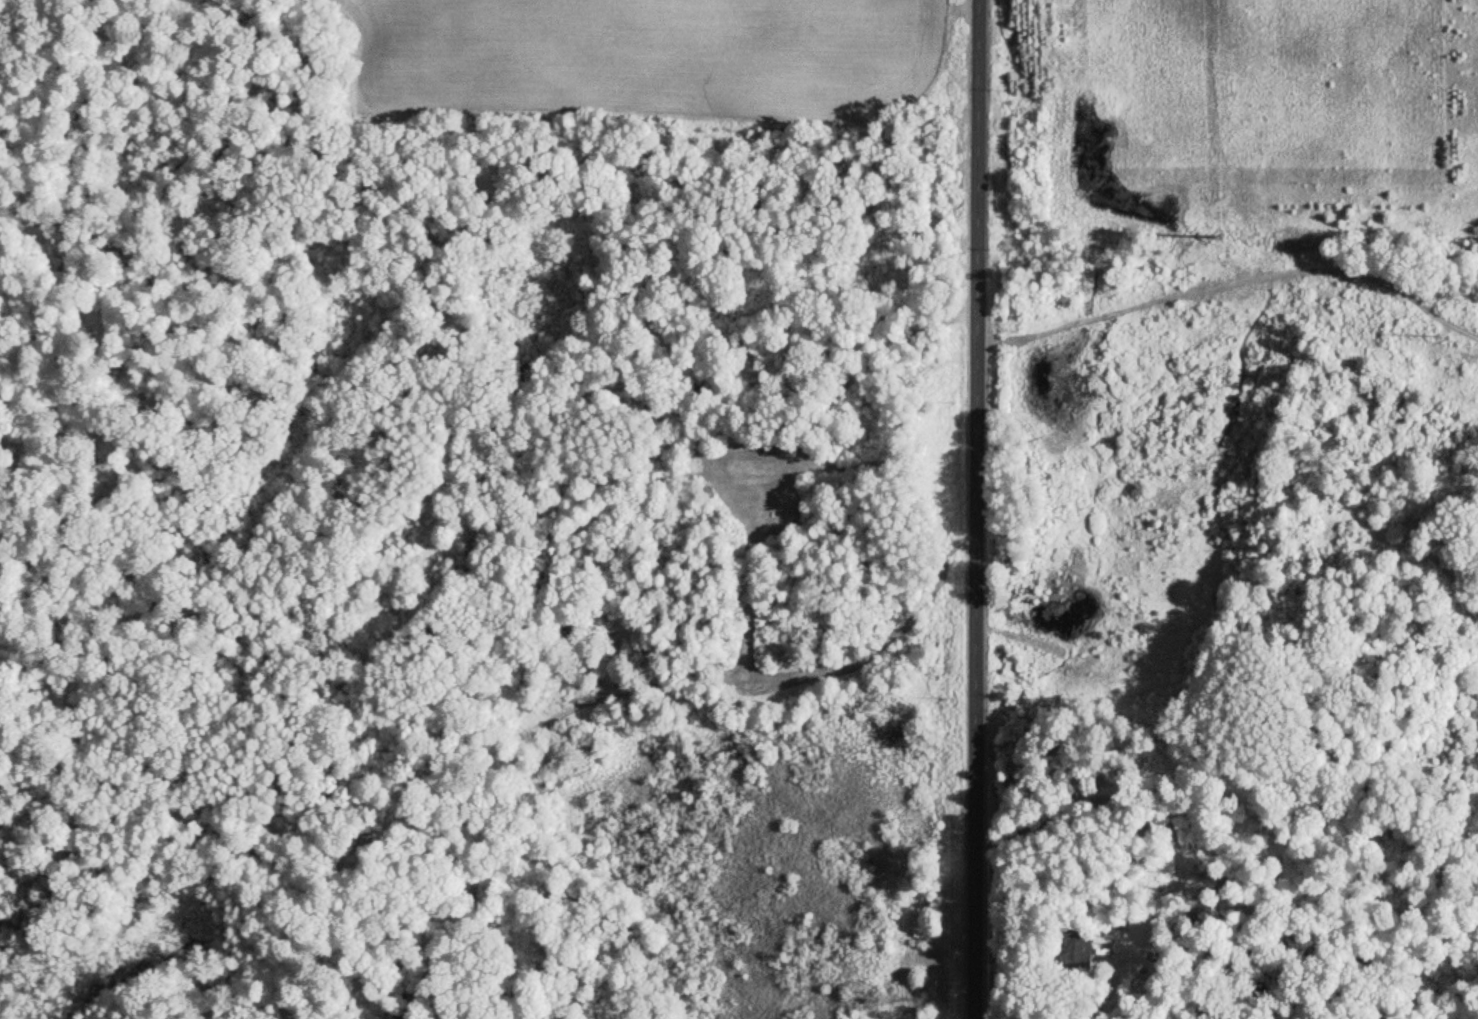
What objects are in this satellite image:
power tower: (1216, 240)
power tower: (1439, 336)
road: (971, 509)

